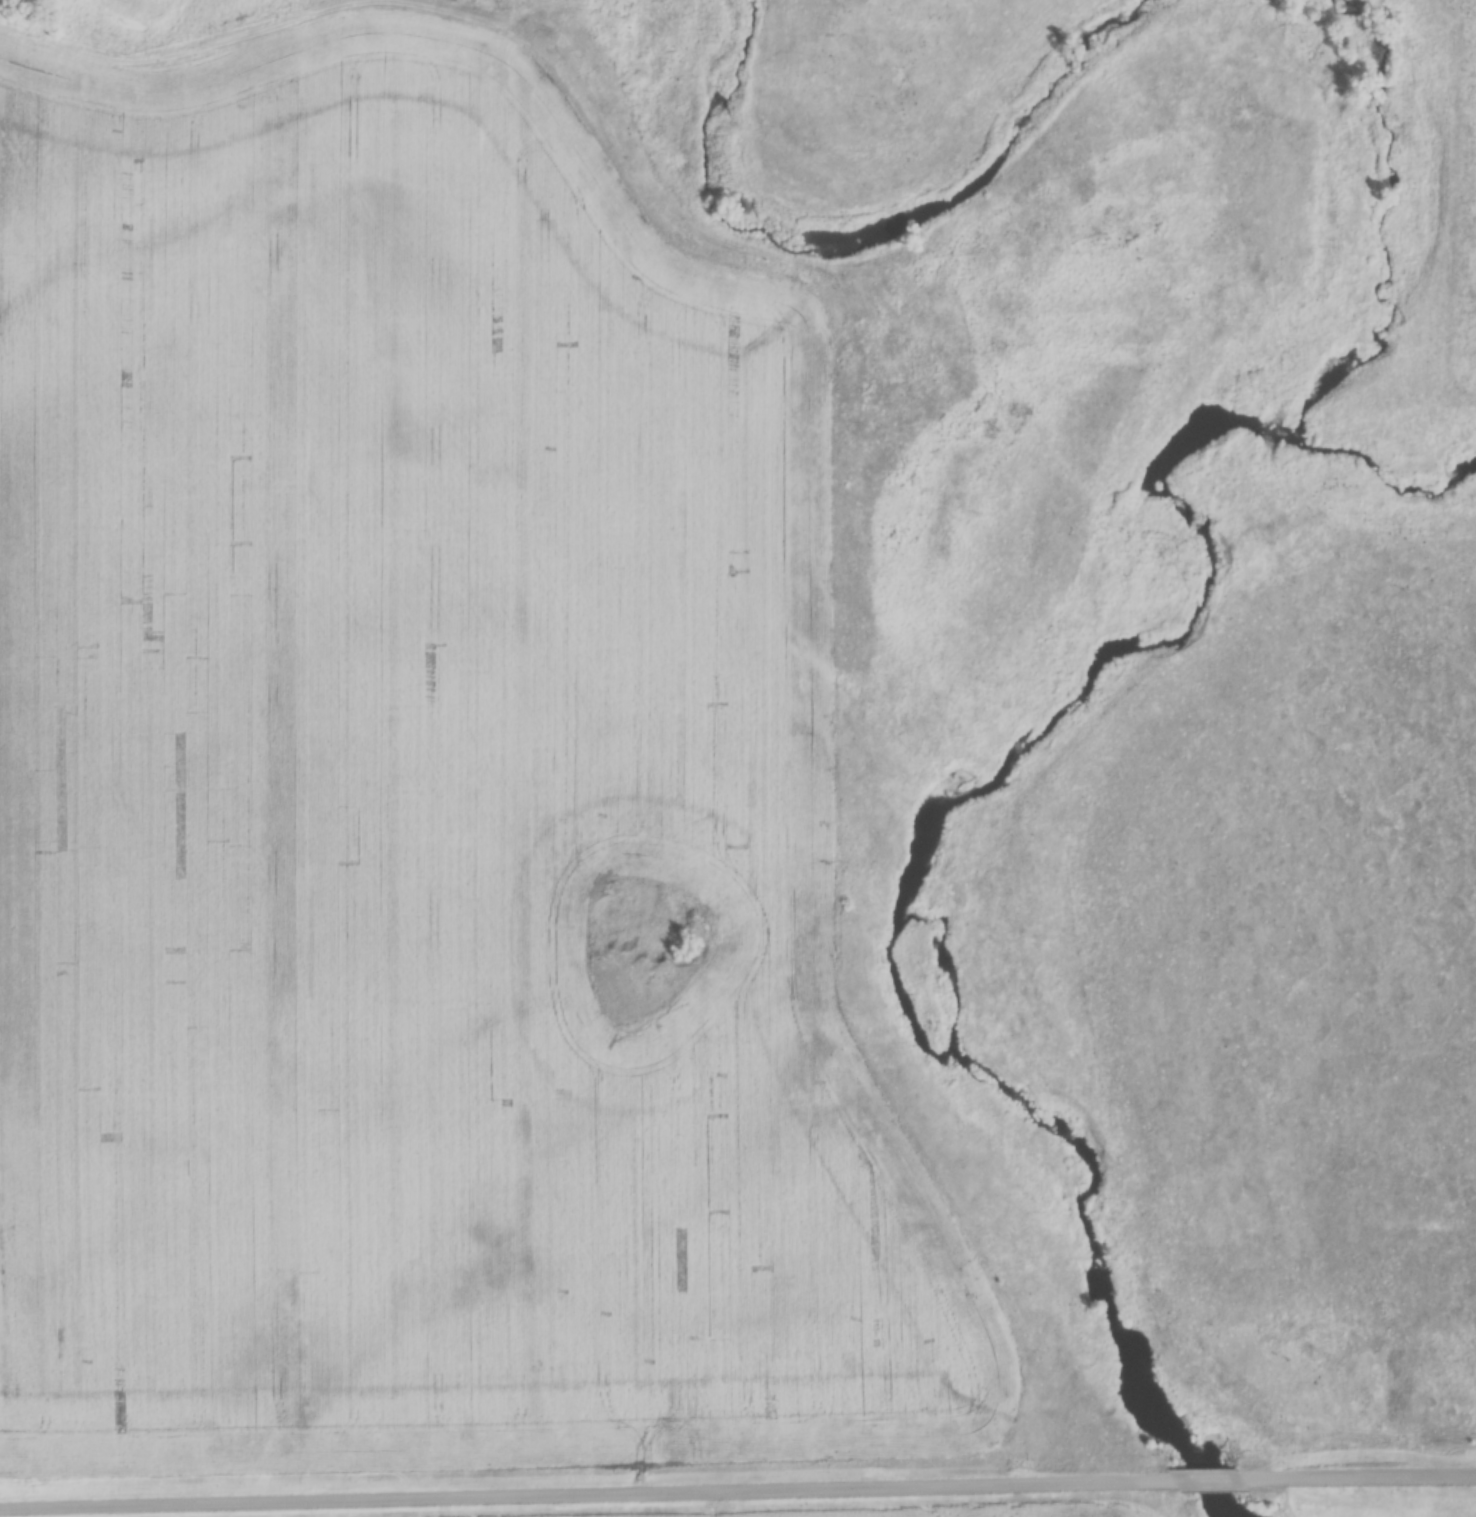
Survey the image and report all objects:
road: (738, 1496)

